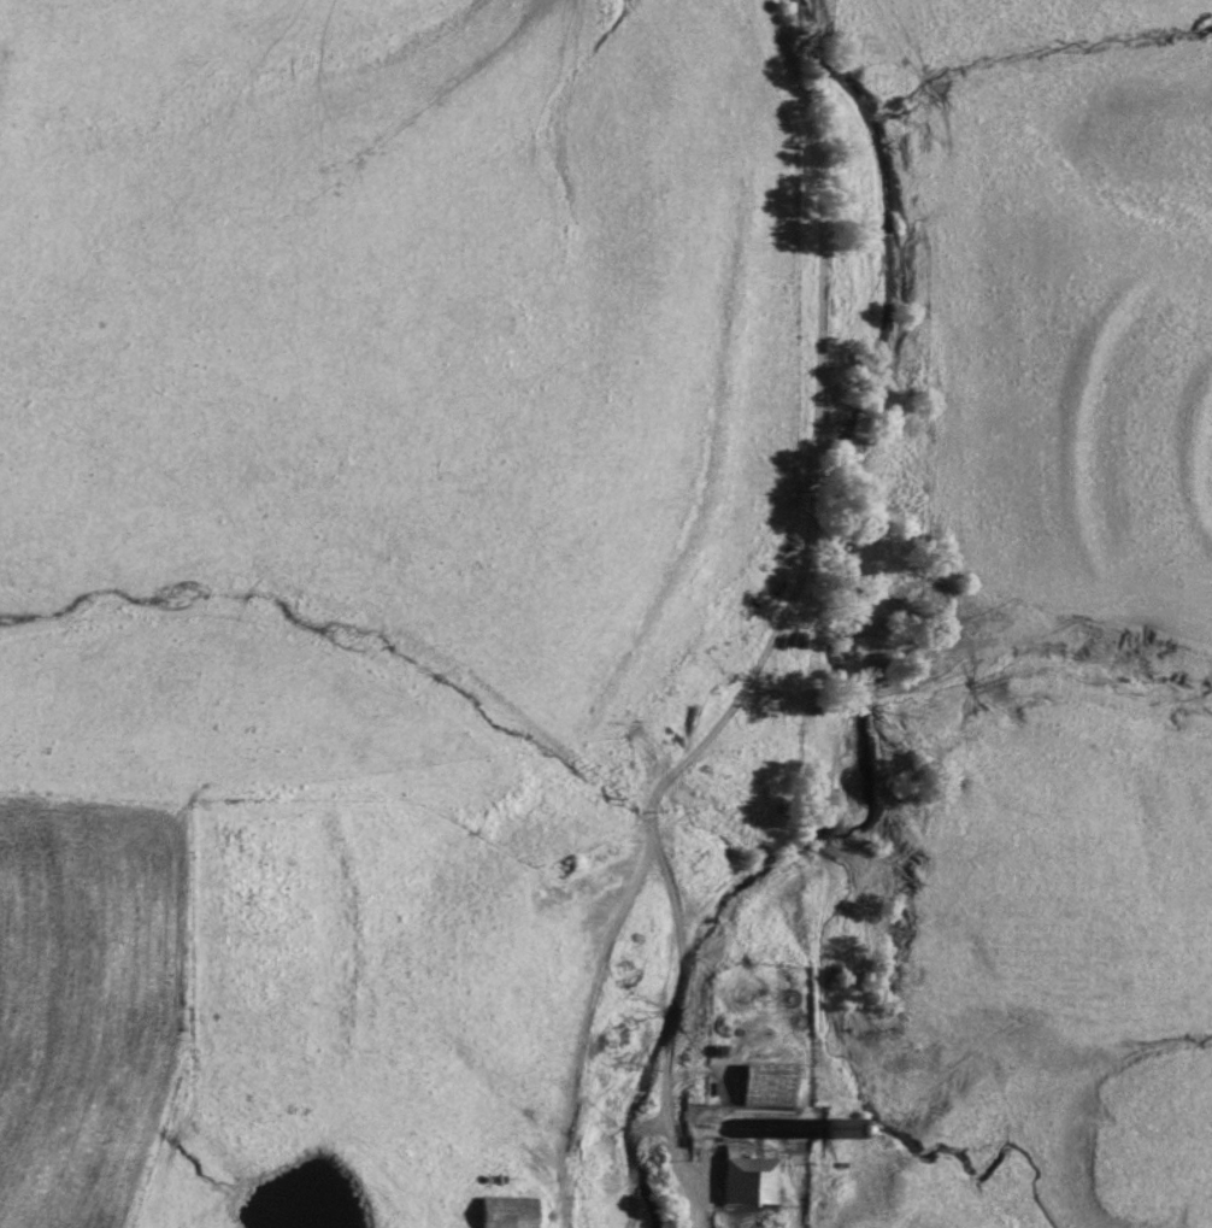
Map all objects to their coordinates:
building: (749, 1176)
road: (822, 1177)
building: (508, 1211)

